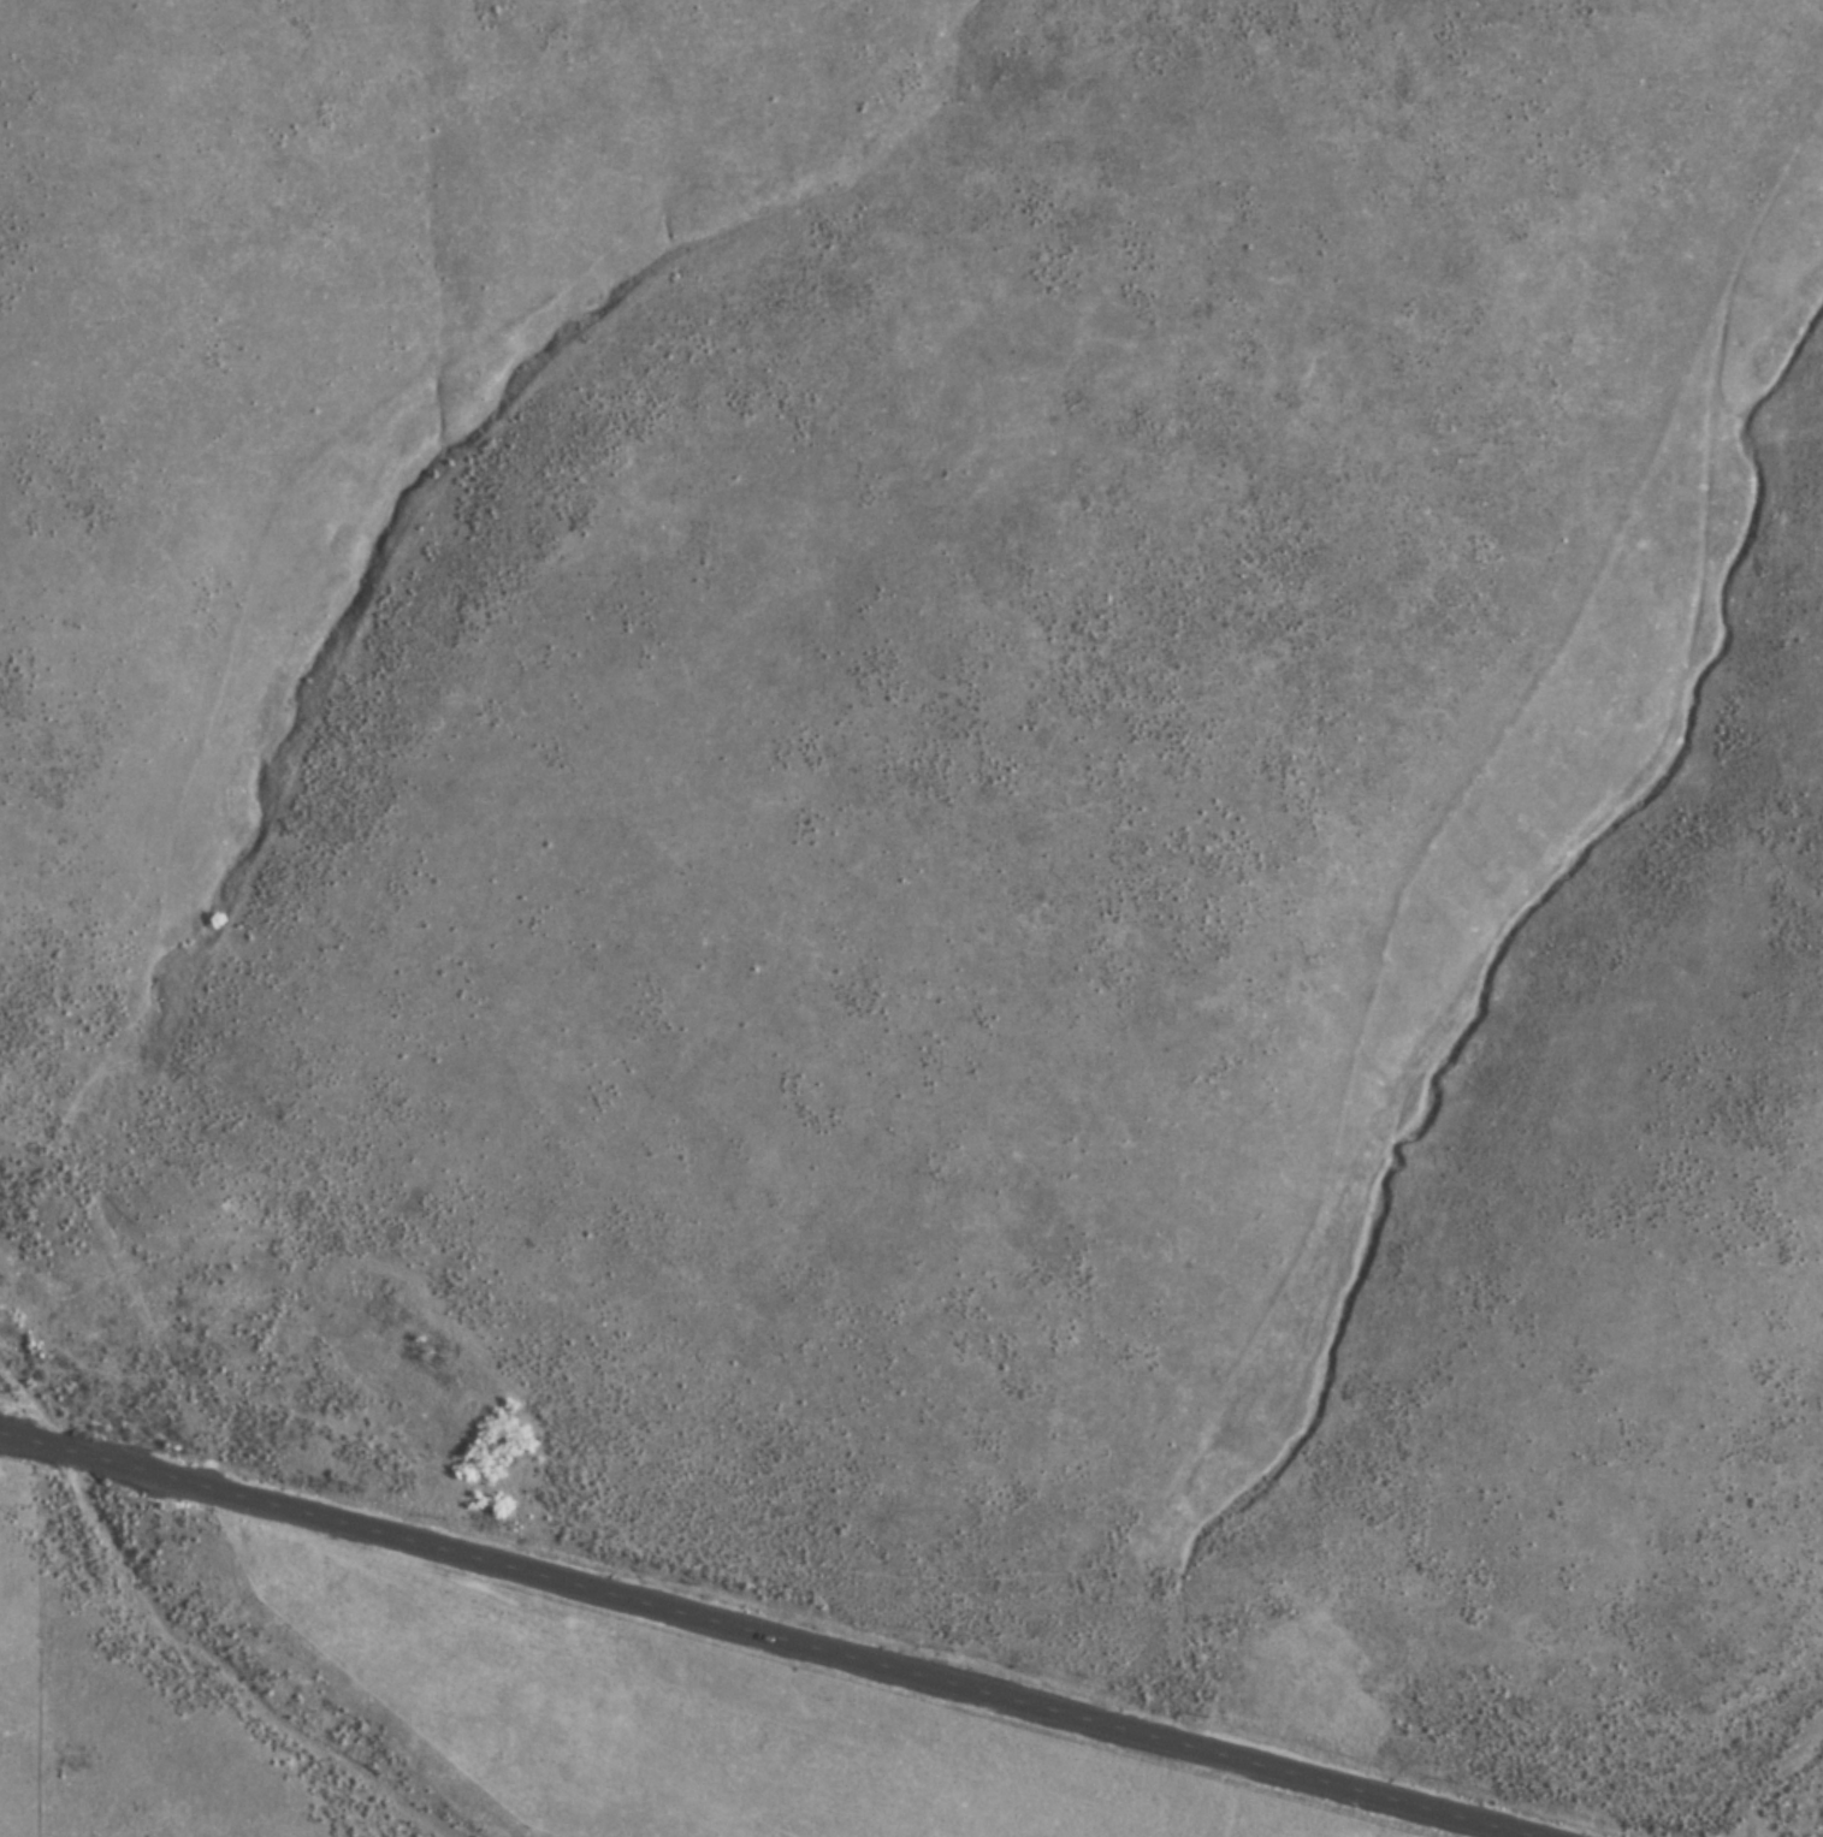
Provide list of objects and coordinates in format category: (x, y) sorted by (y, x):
road: (770, 1634)

